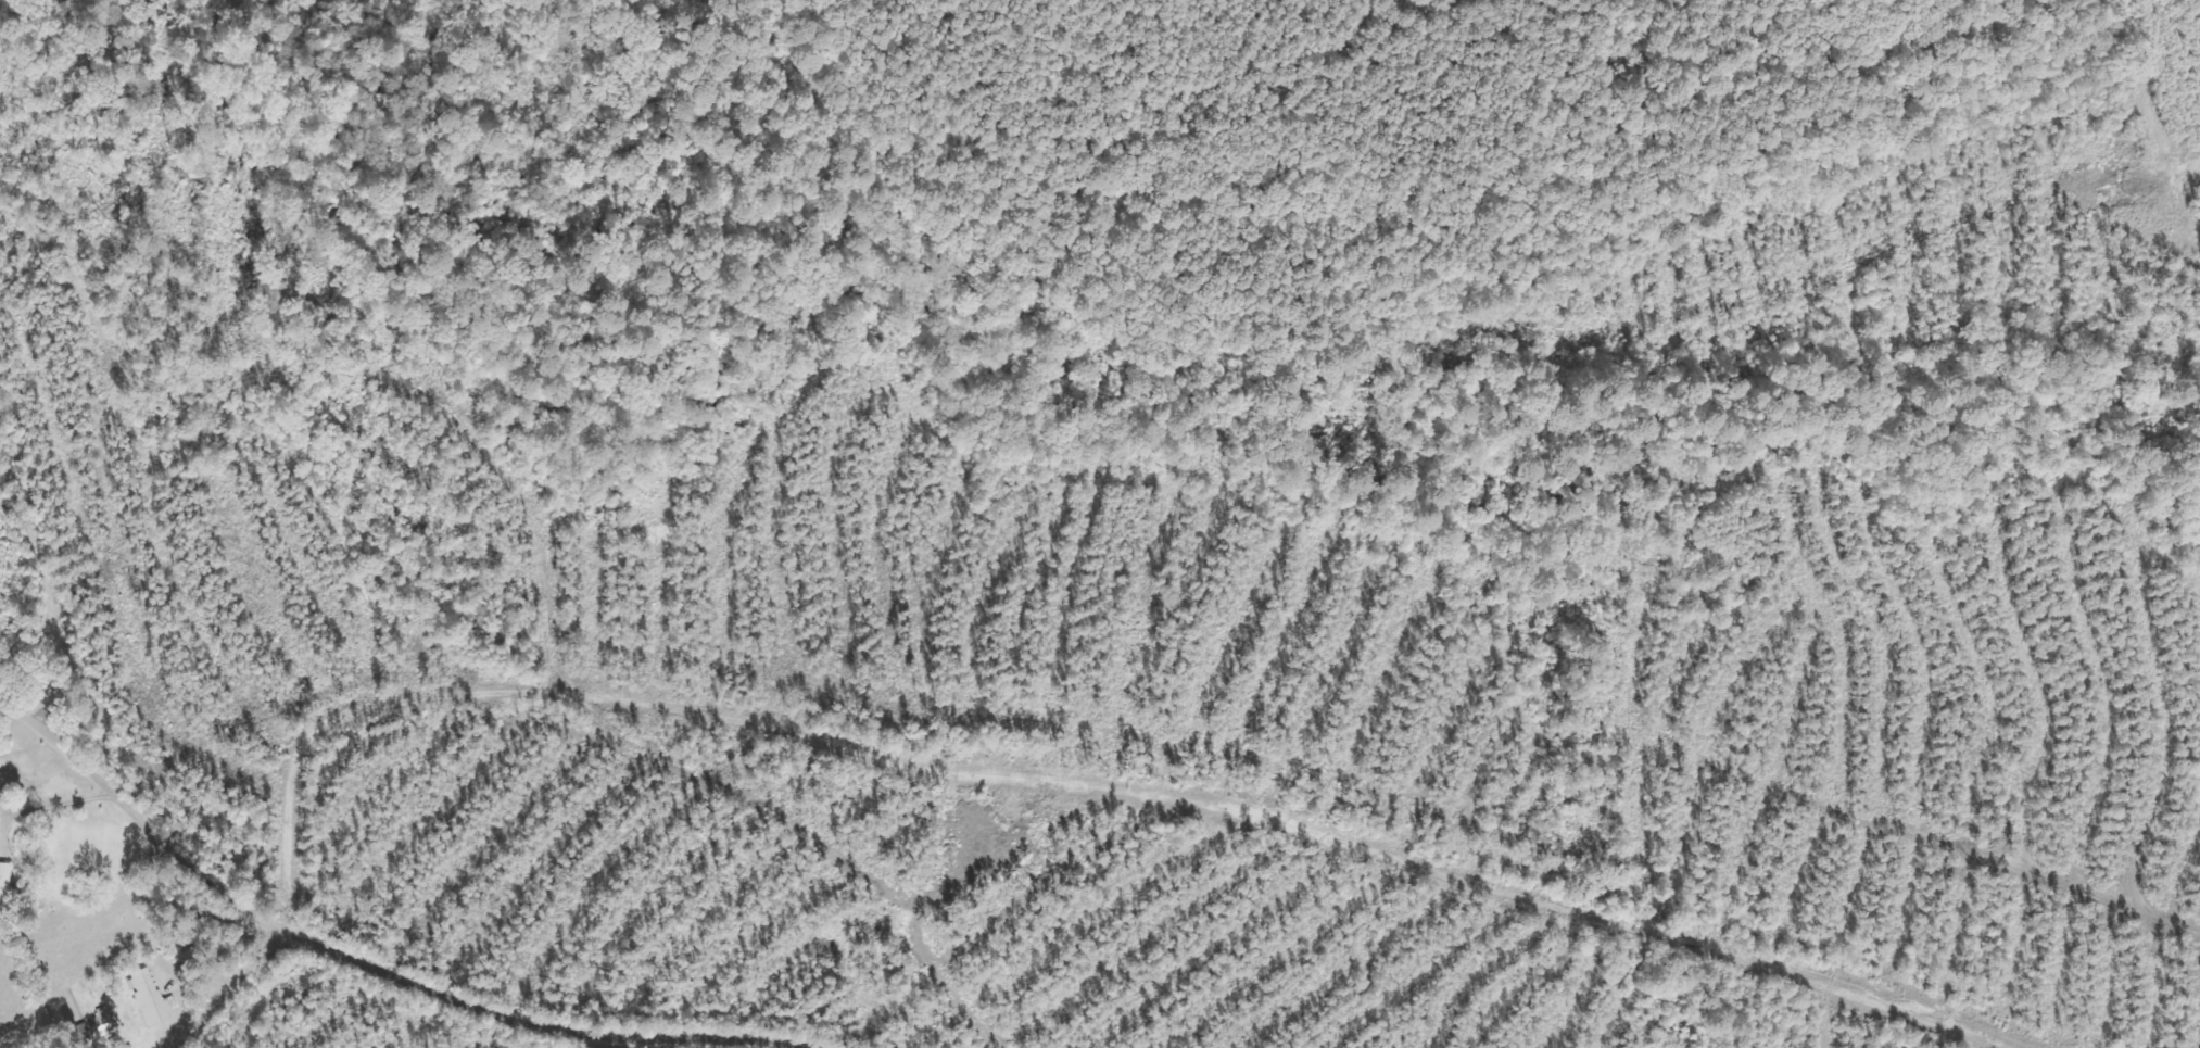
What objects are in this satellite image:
road: (1066, 784)
road: (142, 824)
building: (4, 881)
road: (228, 986)
building: (152, 999)
building: (105, 1021)
road: (540, 1024)

